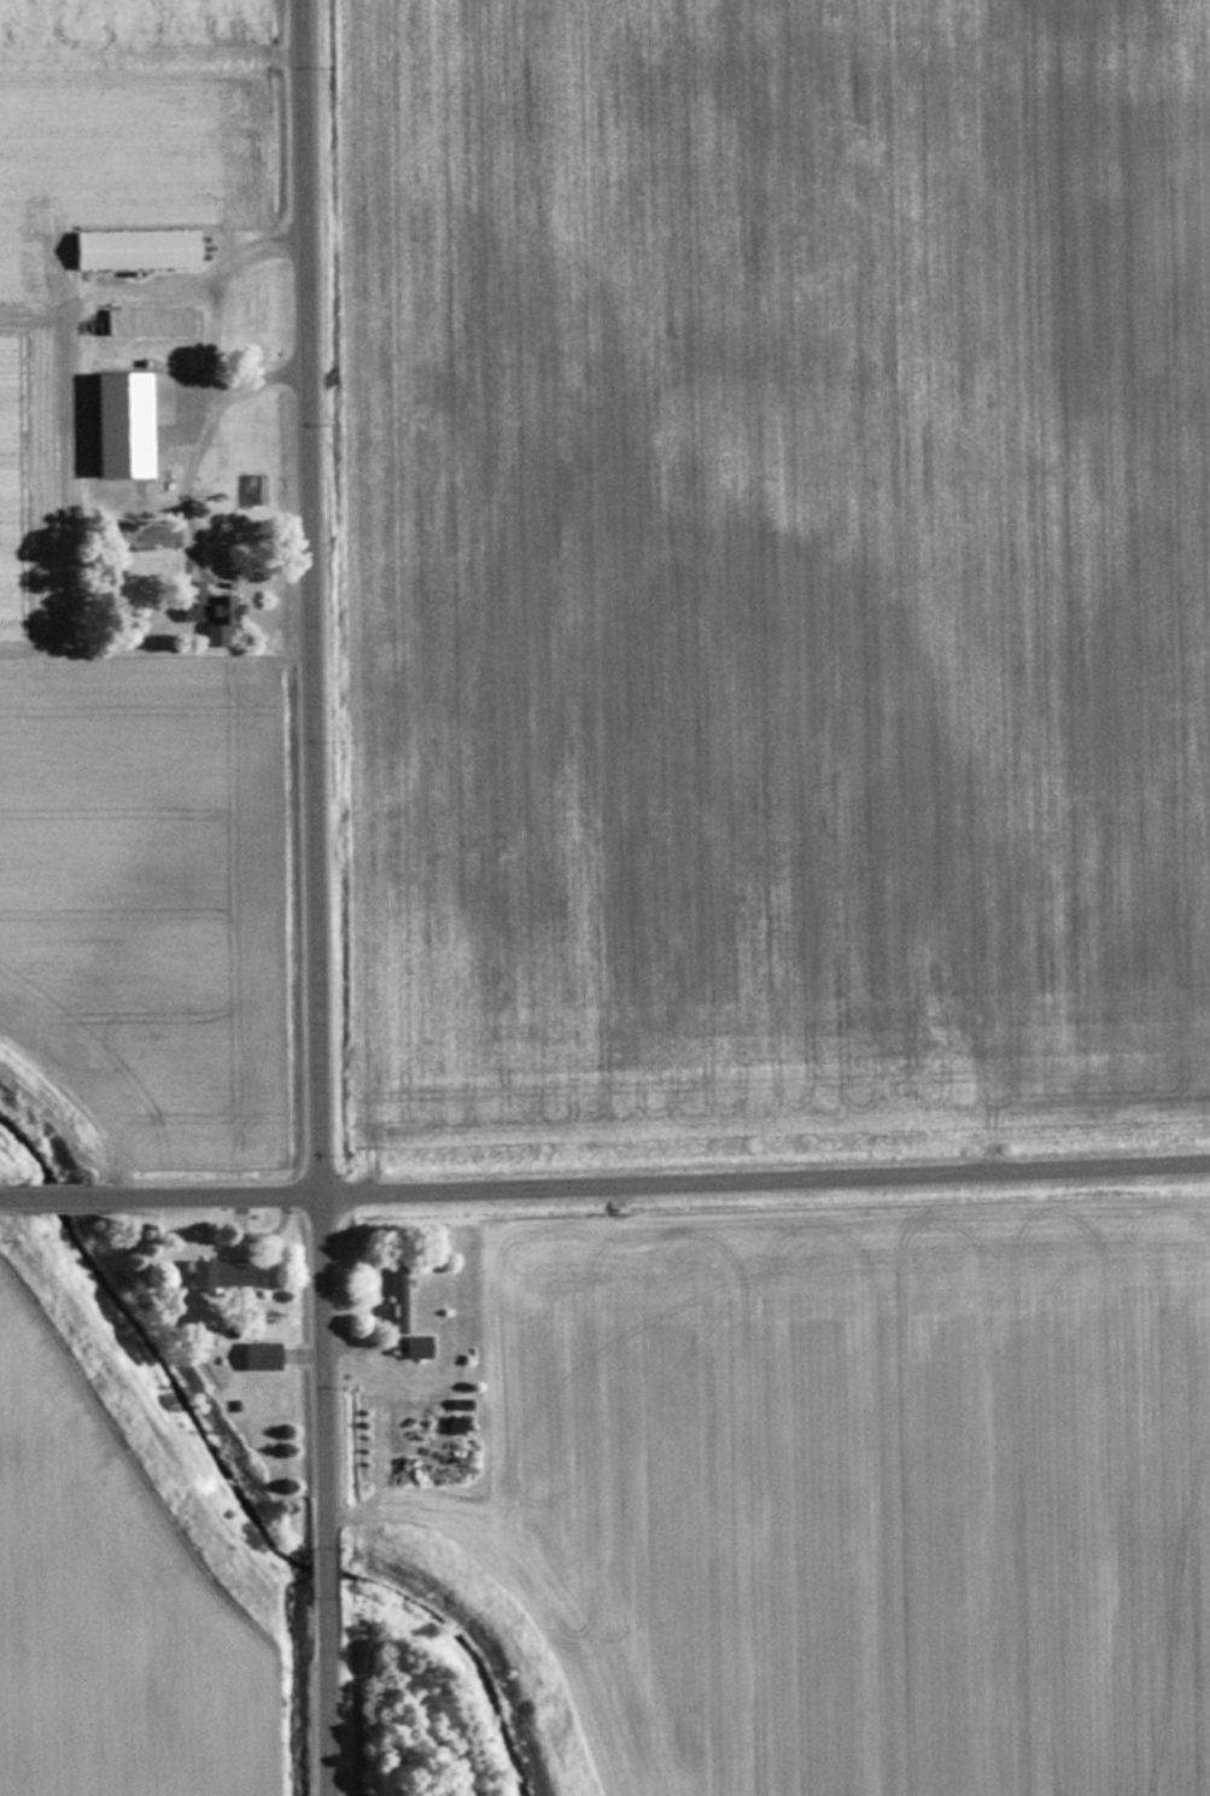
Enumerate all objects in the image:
building: (133, 247)
building: (146, 319)
building: (146, 535)
building: (203, 603)
road: (311, 764)
road: (653, 1177)
road: (53, 1191)
road: (5, 1193)
building: (215, 1273)
building: (394, 1299)
building: (413, 1347)
building: (256, 1355)
road: (323, 1567)
road: (325, 1701)

